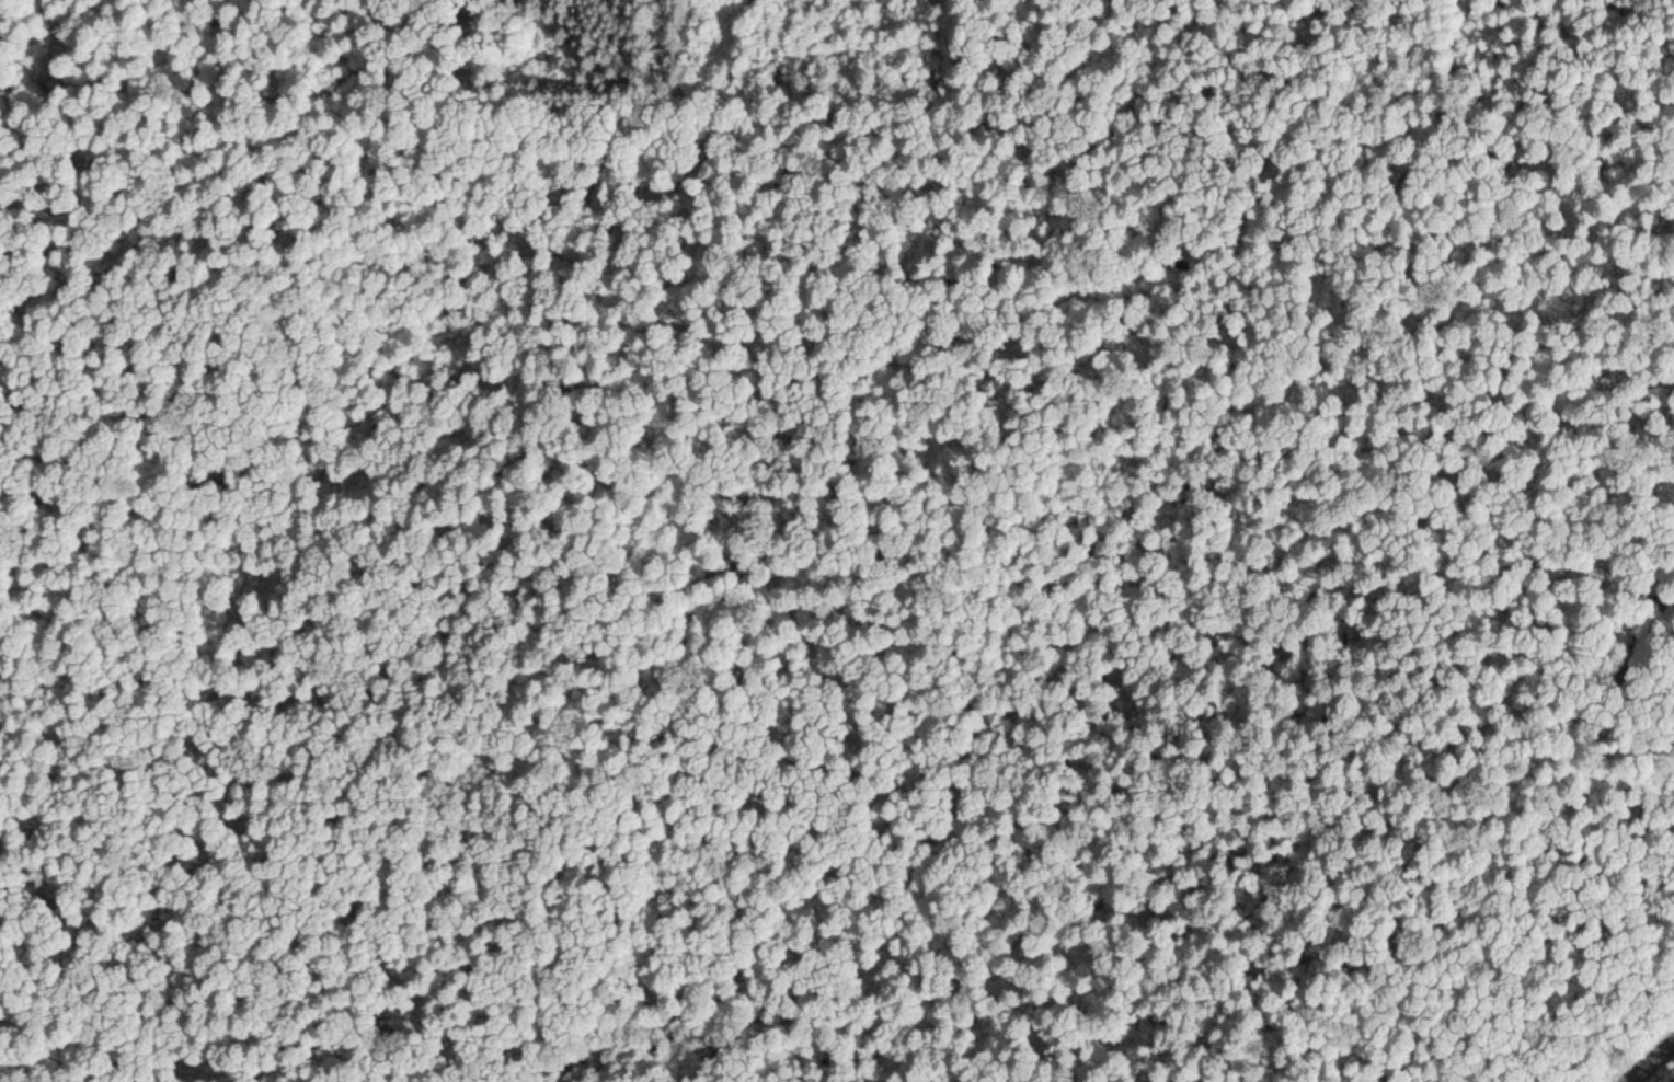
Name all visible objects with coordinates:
road: (1649, 1058)

